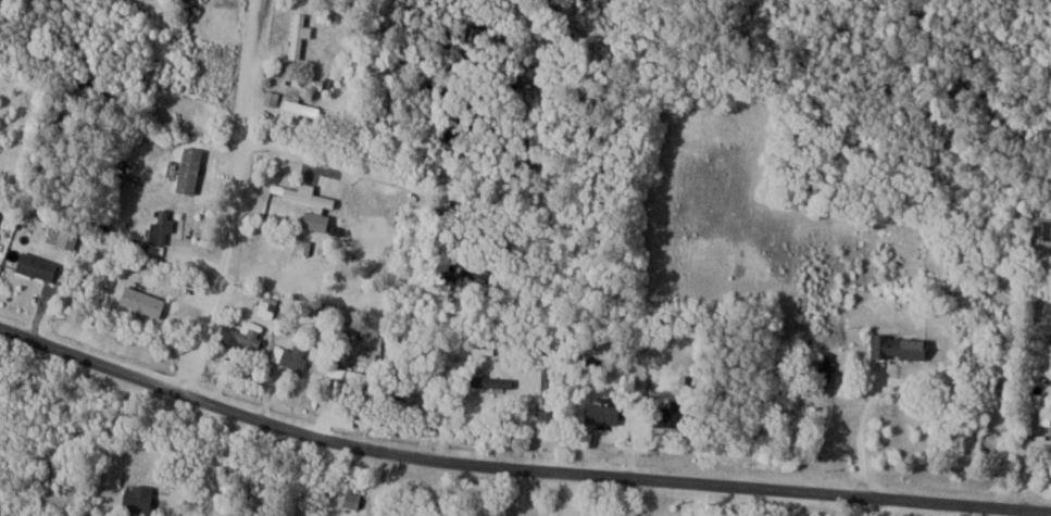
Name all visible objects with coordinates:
building: (300, 35)
building: (273, 98)
road: (173, 115)
building: (189, 168)
road: (398, 174)
building: (310, 196)
road: (234, 200)
building: (317, 221)
building: (162, 227)
building: (61, 236)
building: (38, 265)
building: (477, 273)
building: (142, 302)
building: (246, 337)
building: (900, 345)
building: (291, 356)
building: (492, 381)
building: (548, 395)
building: (675, 416)
road: (854, 435)
road: (515, 469)
building: (139, 498)
building: (353, 500)

